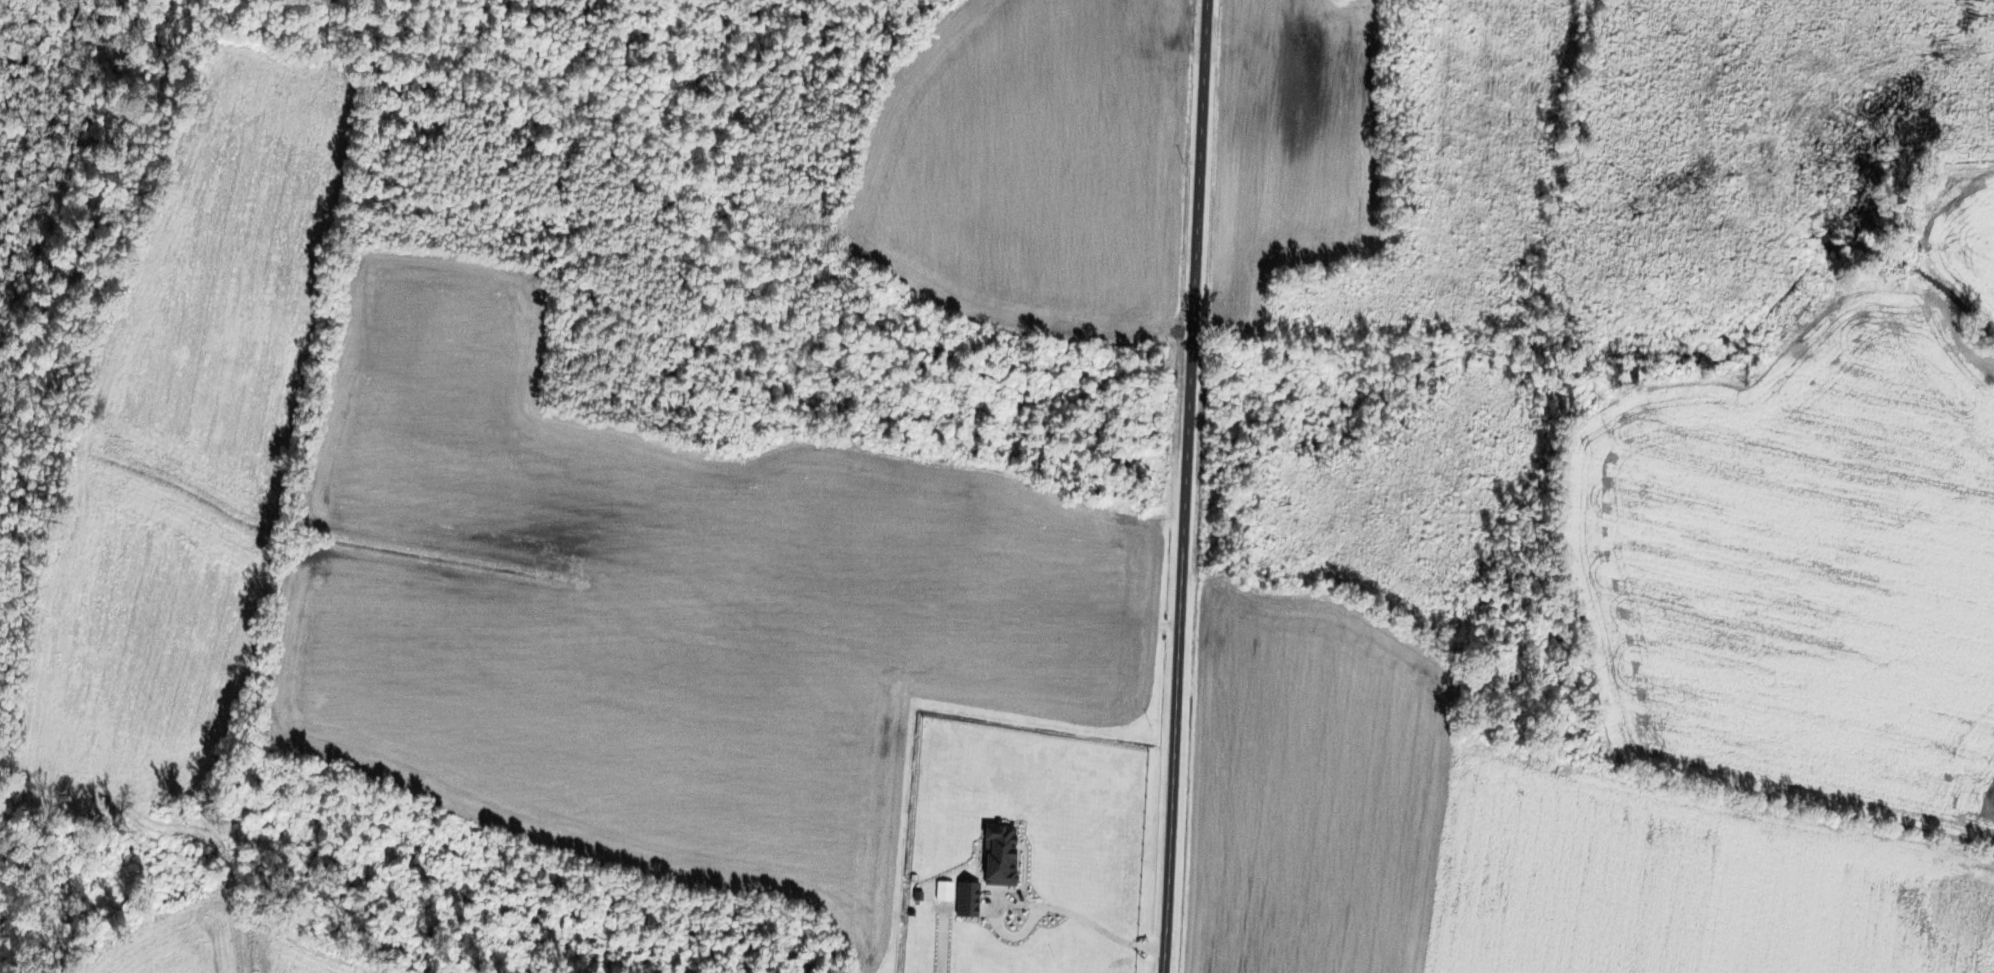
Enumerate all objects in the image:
road: (1184, 486)
building: (997, 855)
building: (965, 899)

